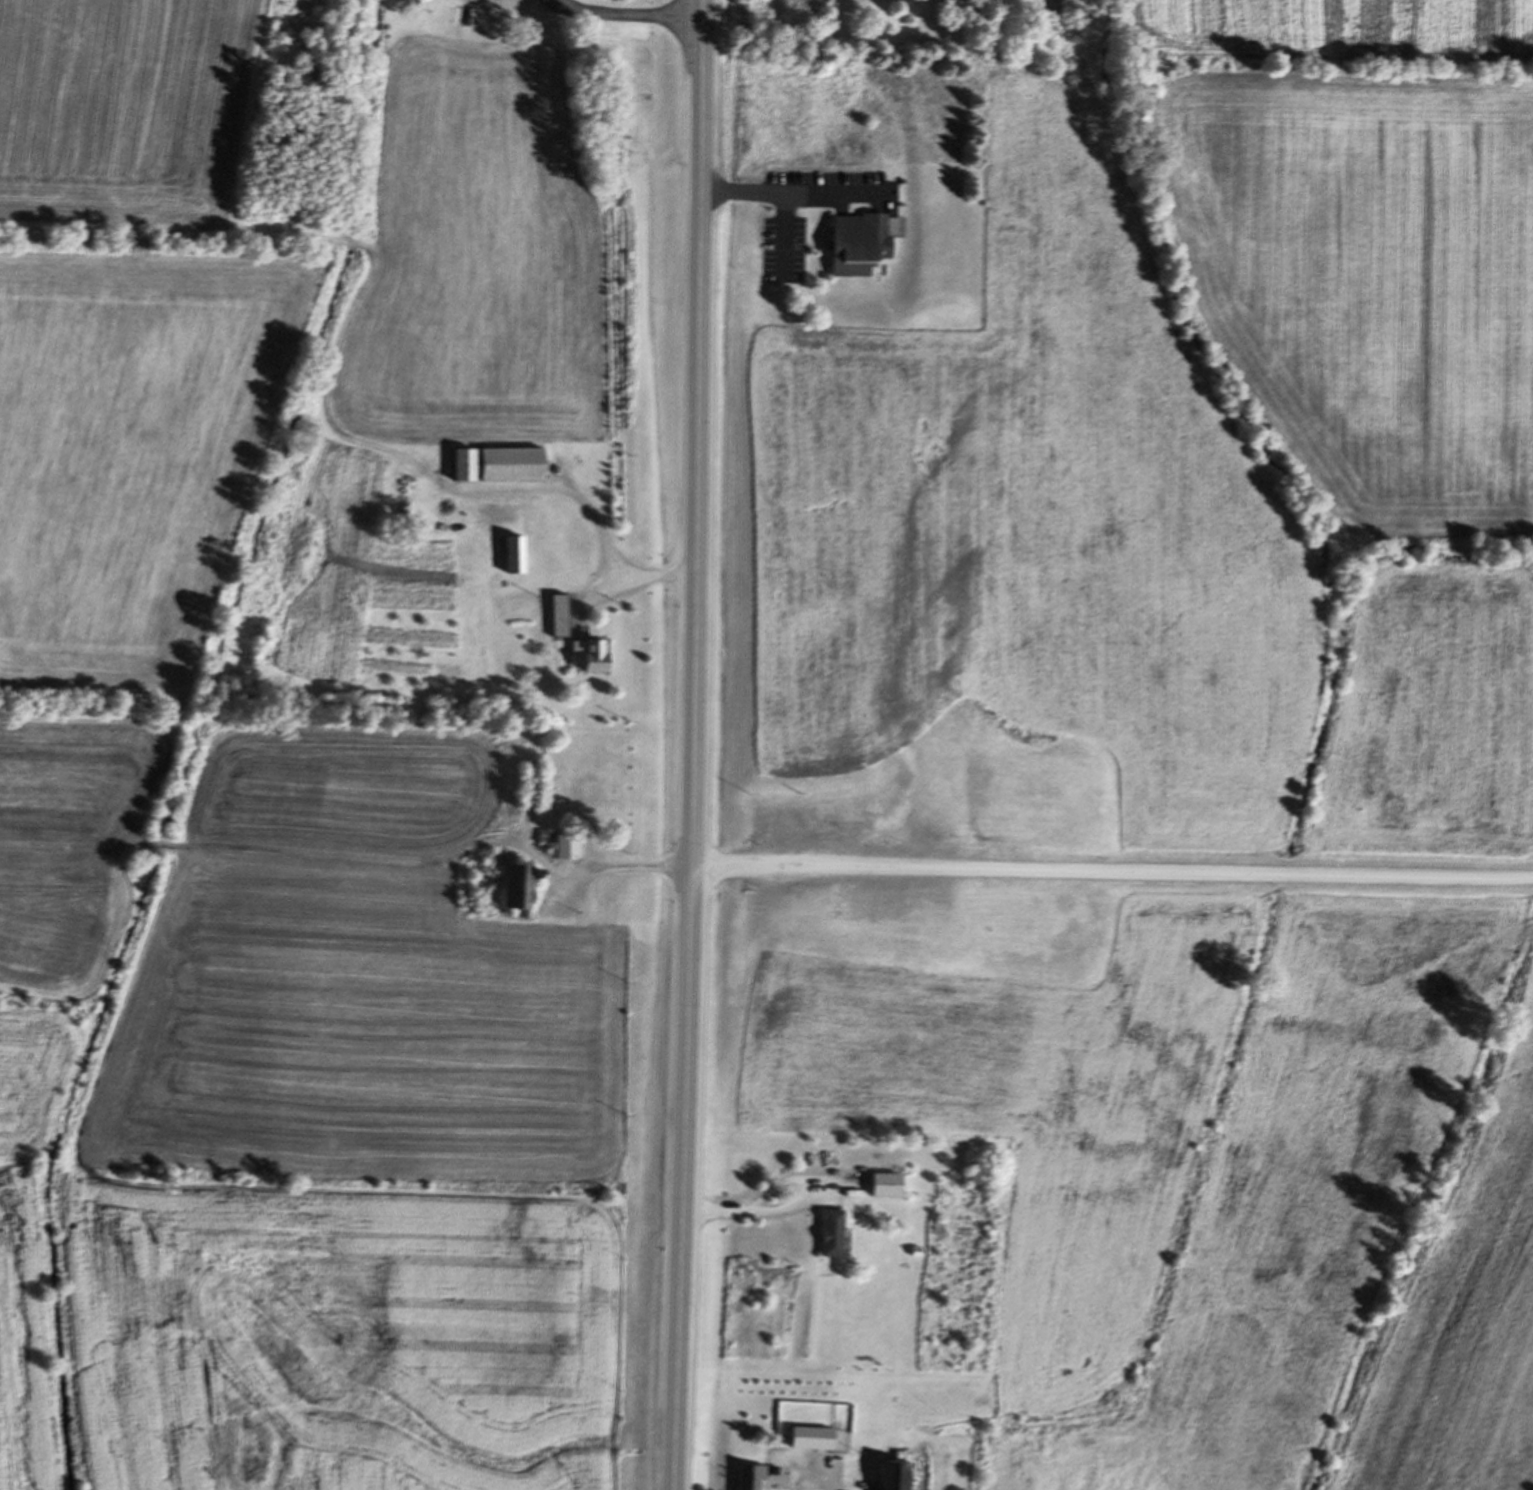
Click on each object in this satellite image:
building: (956, 6)
road: (630, 16)
road: (793, 194)
building: (864, 245)
building: (503, 466)
road: (598, 519)
building: (518, 555)
building: (563, 617)
building: (595, 656)
road: (696, 745)
building: (534, 785)
building: (598, 797)
building: (546, 837)
building: (569, 847)
road: (630, 868)
road: (1113, 872)
building: (516, 883)
landfill: (336, 1093)
building: (894, 1186)
road: (775, 1209)
building: (837, 1234)
building: (817, 1440)
building: (902, 1476)
building: (752, 1478)
road: (828, 1481)

